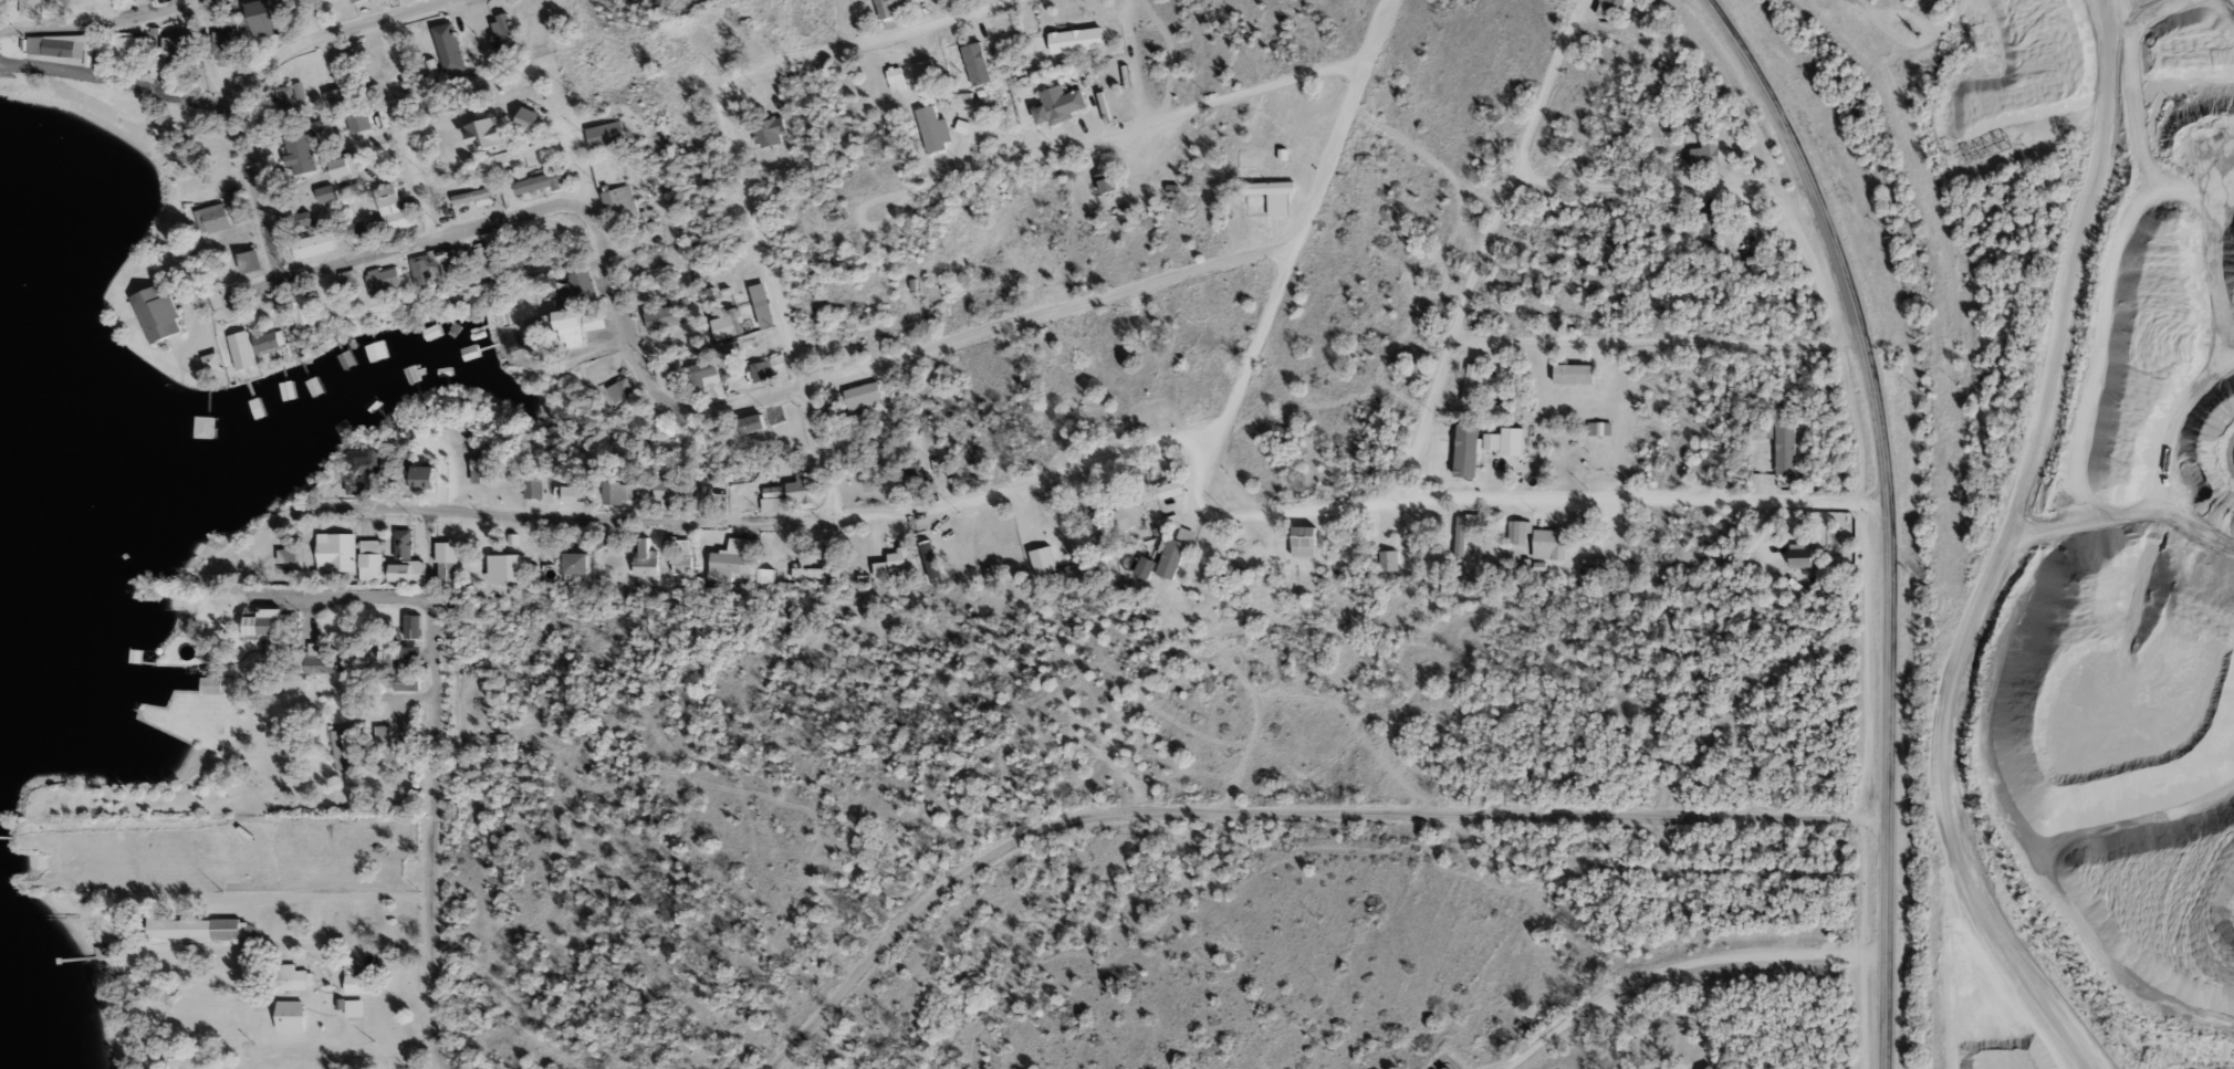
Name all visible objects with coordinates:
building: (354, 1)
building: (87, 3)
building: (1615, 3)
building: (896, 7)
building: (42, 9)
road: (313, 17)
building: (262, 18)
building: (533, 27)
road: (98, 28)
building: (503, 34)
building: (1078, 39)
road: (862, 40)
building: (221, 45)
building: (451, 45)
building: (129, 48)
building: (65, 49)
building: (179, 53)
building: (977, 63)
building: (326, 64)
building: (927, 71)
building: (1662, 74)
building: (897, 76)
building: (685, 81)
building: (289, 93)
road: (231, 97)
building: (335, 97)
building: (1059, 104)
building: (351, 126)
building: (933, 128)
road: (1137, 128)
road: (580, 129)
building: (770, 132)
building: (602, 135)
building: (301, 150)
building: (1709, 153)
building: (344, 171)
road: (410, 172)
building: (539, 182)
building: (1269, 187)
road: (1725, 188)
road: (253, 191)
building: (325, 193)
building: (471, 196)
building: (616, 205)
building: (394, 210)
road: (1304, 214)
building: (216, 216)
building: (297, 220)
building: (1711, 222)
road: (428, 239)
building: (493, 240)
building: (314, 244)
road: (1485, 250)
building: (1758, 259)
building: (481, 260)
building: (251, 261)
building: (451, 264)
building: (424, 271)
building: (385, 280)
building: (351, 283)
building: (577, 287)
road: (771, 302)
building: (304, 310)
building: (157, 313)
building: (661, 318)
building: (573, 327)
building: (270, 339)
road: (1657, 342)
building: (744, 346)
building: (243, 349)
building: (370, 350)
building: (215, 365)
road: (873, 366)
building: (660, 370)
building: (761, 370)
building: (703, 373)
building: (1472, 382)
building: (314, 387)
building: (863, 395)
road: (2039, 407)
building: (832, 408)
building: (762, 419)
building: (210, 426)
building: (341, 426)
building: (1599, 429)
building: (991, 446)
building: (1785, 449)
building: (1465, 457)
building: (769, 467)
building: (912, 468)
building: (366, 469)
building: (482, 471)
building: (427, 476)
building: (536, 488)
building: (804, 488)
building: (669, 489)
building: (1172, 489)
building: (578, 492)
building: (624, 492)
building: (773, 492)
road: (1500, 500)
building: (1127, 511)
road: (1887, 514)
road: (775, 521)
building: (1517, 533)
building: (1307, 536)
building: (1182, 541)
building: (398, 543)
building: (1548, 544)
building: (1257, 548)
building: (337, 551)
building: (646, 555)
building: (682, 555)
building: (1802, 555)
building: (735, 559)
building: (1043, 559)
building: (370, 560)
building: (1388, 560)
building: (578, 563)
building: (1149, 563)
building: (895, 564)
building: (447, 572)
quarry: (2108, 574)
building: (810, 575)
building: (270, 623)
building: (321, 660)
building: (394, 668)
building: (211, 685)
building: (112, 703)
road: (432, 745)
building: (384, 746)
building: (345, 750)
road: (1280, 809)
building: (254, 845)
road: (328, 898)
building: (197, 927)
road: (2014, 944)
road: (1682, 962)
building: (288, 976)
building: (355, 979)
building: (352, 1008)
building: (290, 1015)
road: (1614, 1034)
road: (357, 1049)
building: (173, 1052)
building: (1712, 1068)

